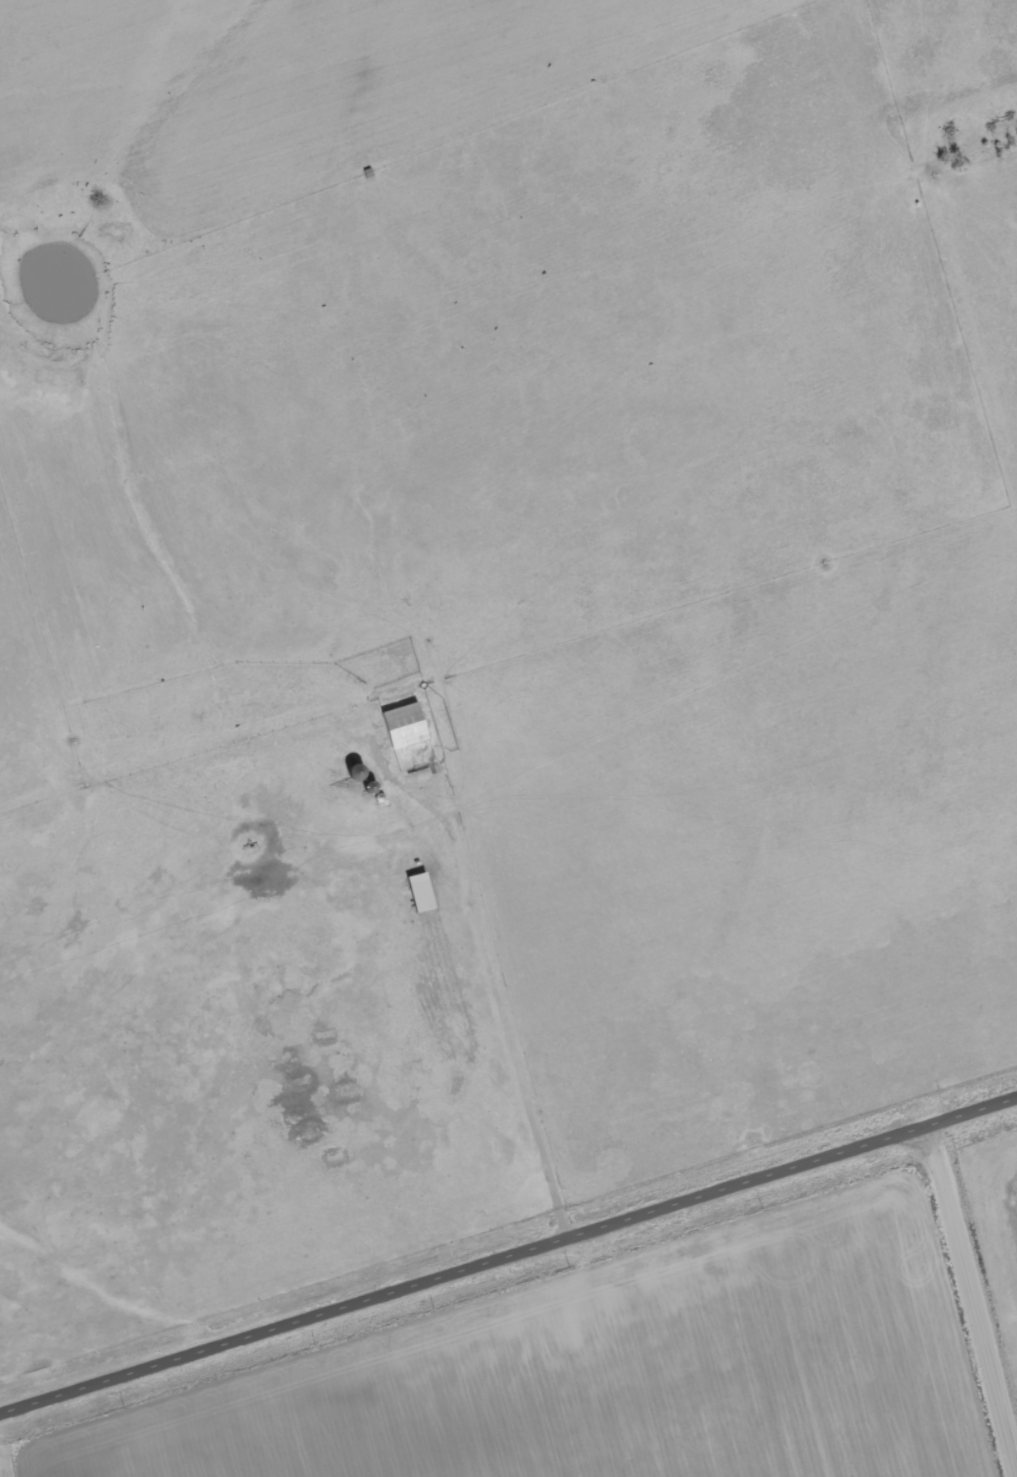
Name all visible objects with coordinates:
building: (406, 727)
building: (422, 895)
road: (489, 996)
road: (508, 1255)
road: (969, 1301)

